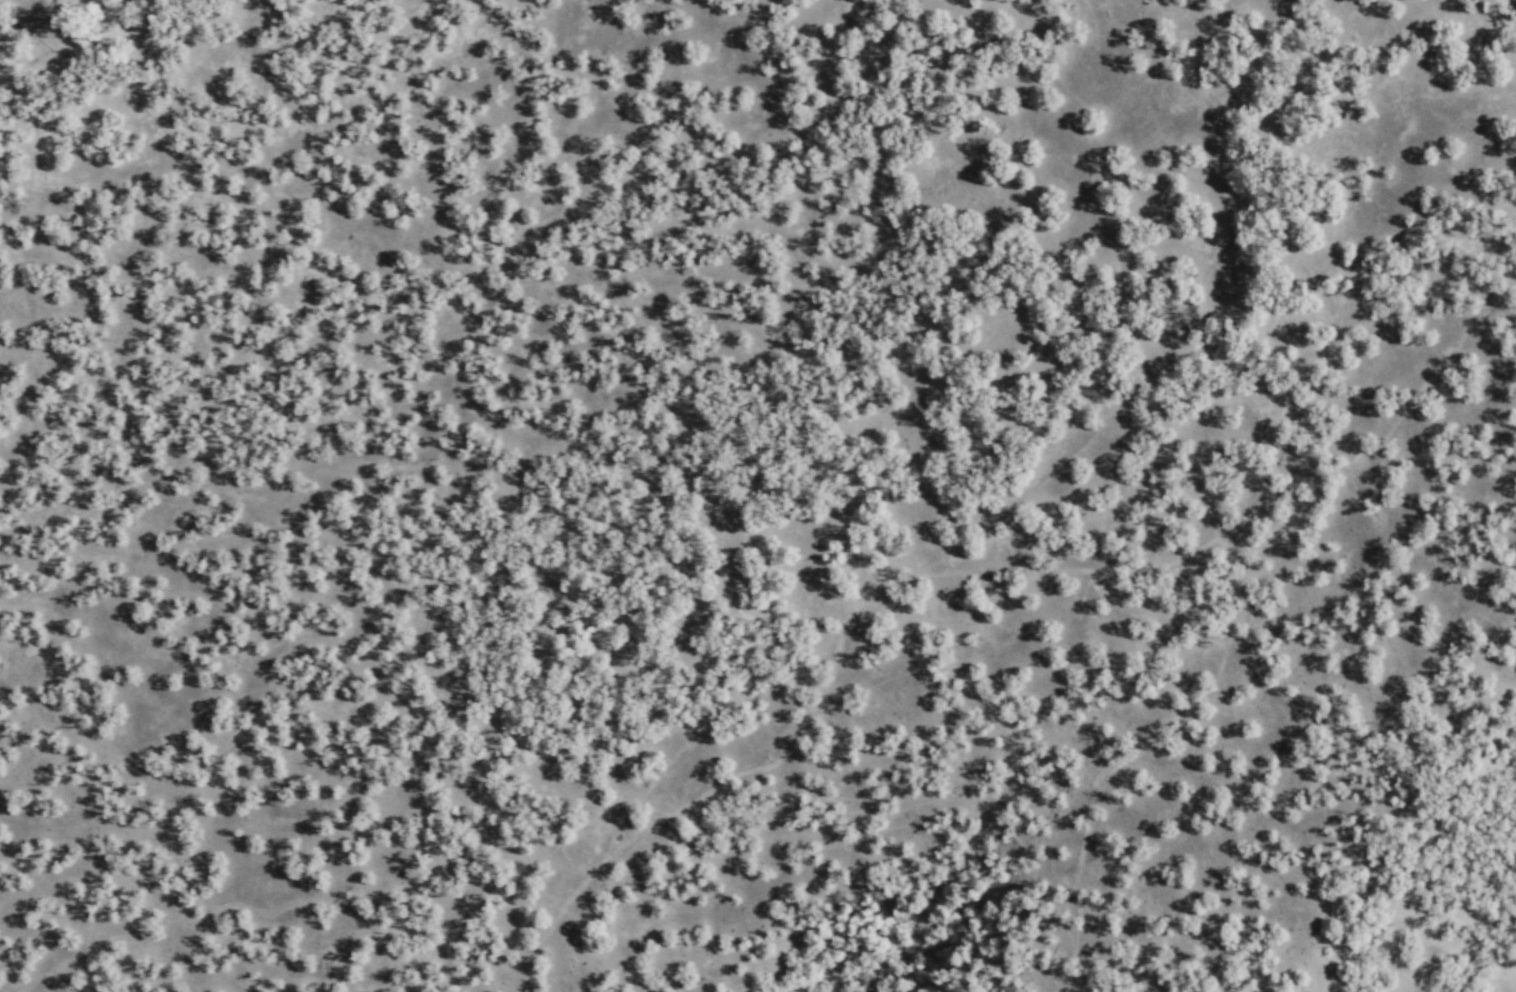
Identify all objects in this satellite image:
road: (1384, 435)
road: (829, 674)
road: (495, 980)

